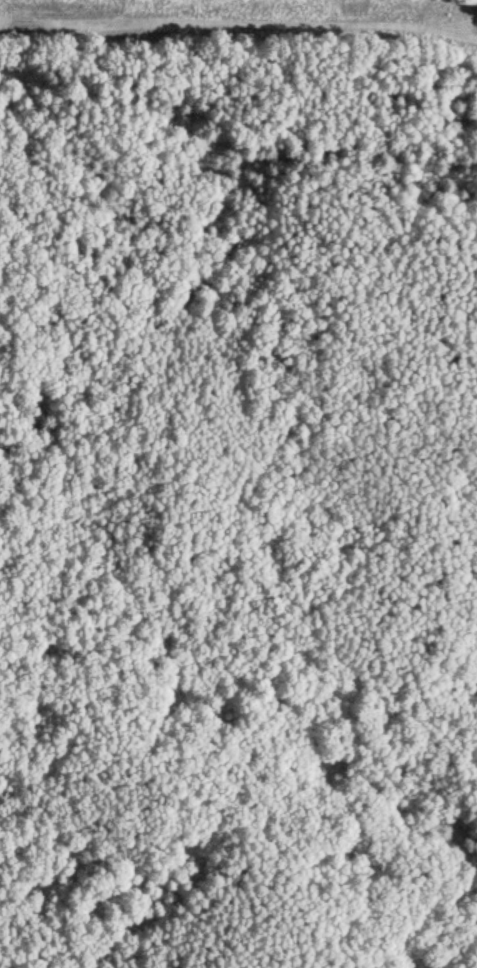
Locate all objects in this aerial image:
road: (238, 26)
road: (458, 33)

